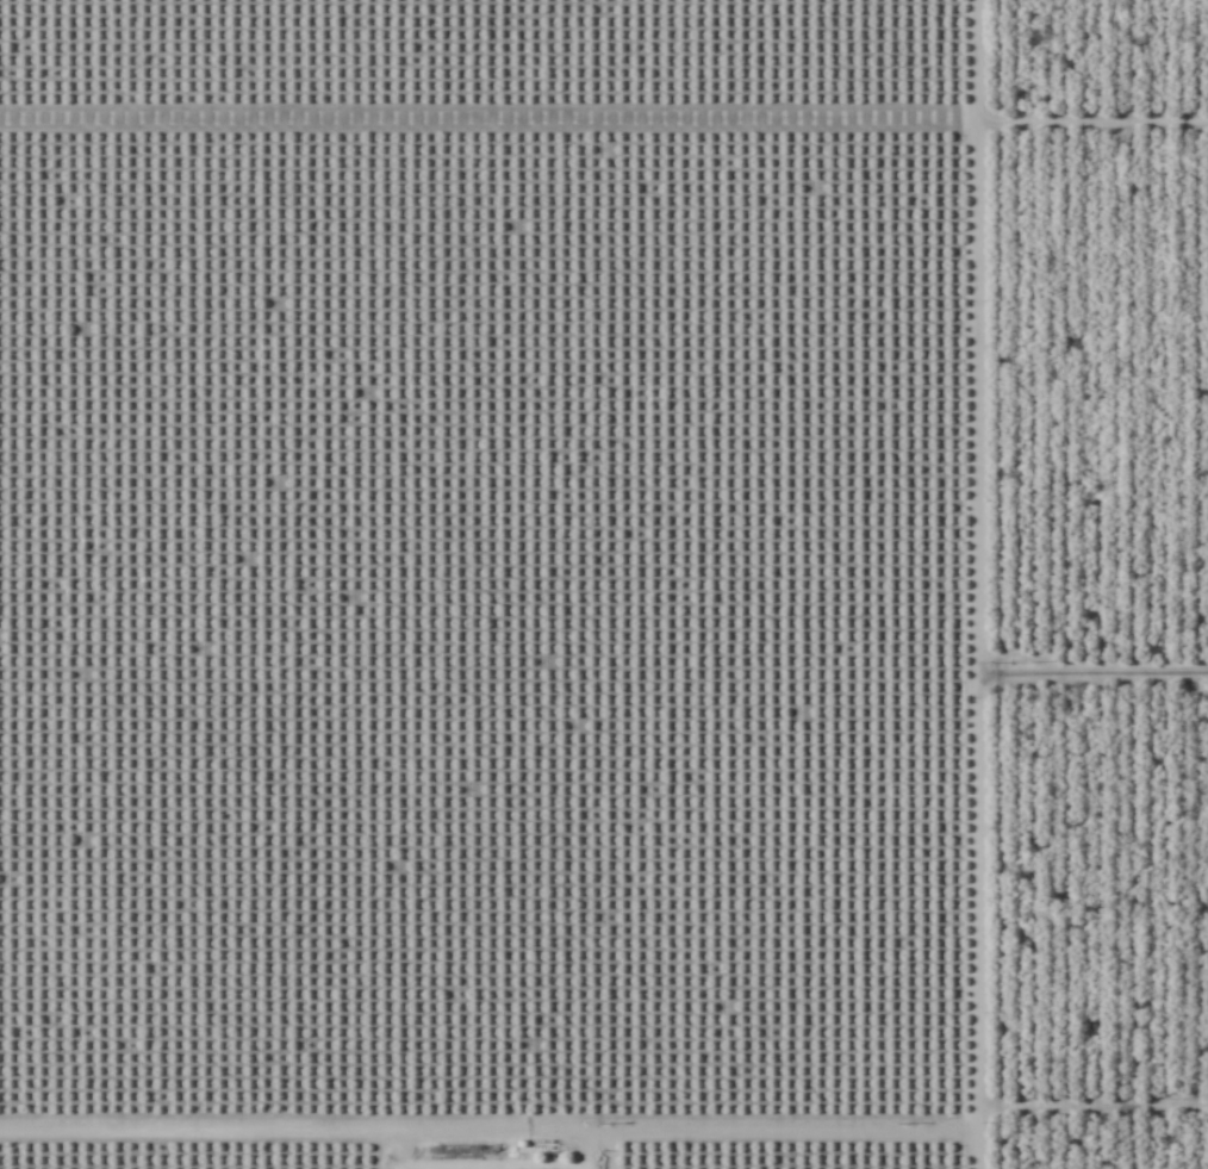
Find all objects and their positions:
road: (969, 584)

